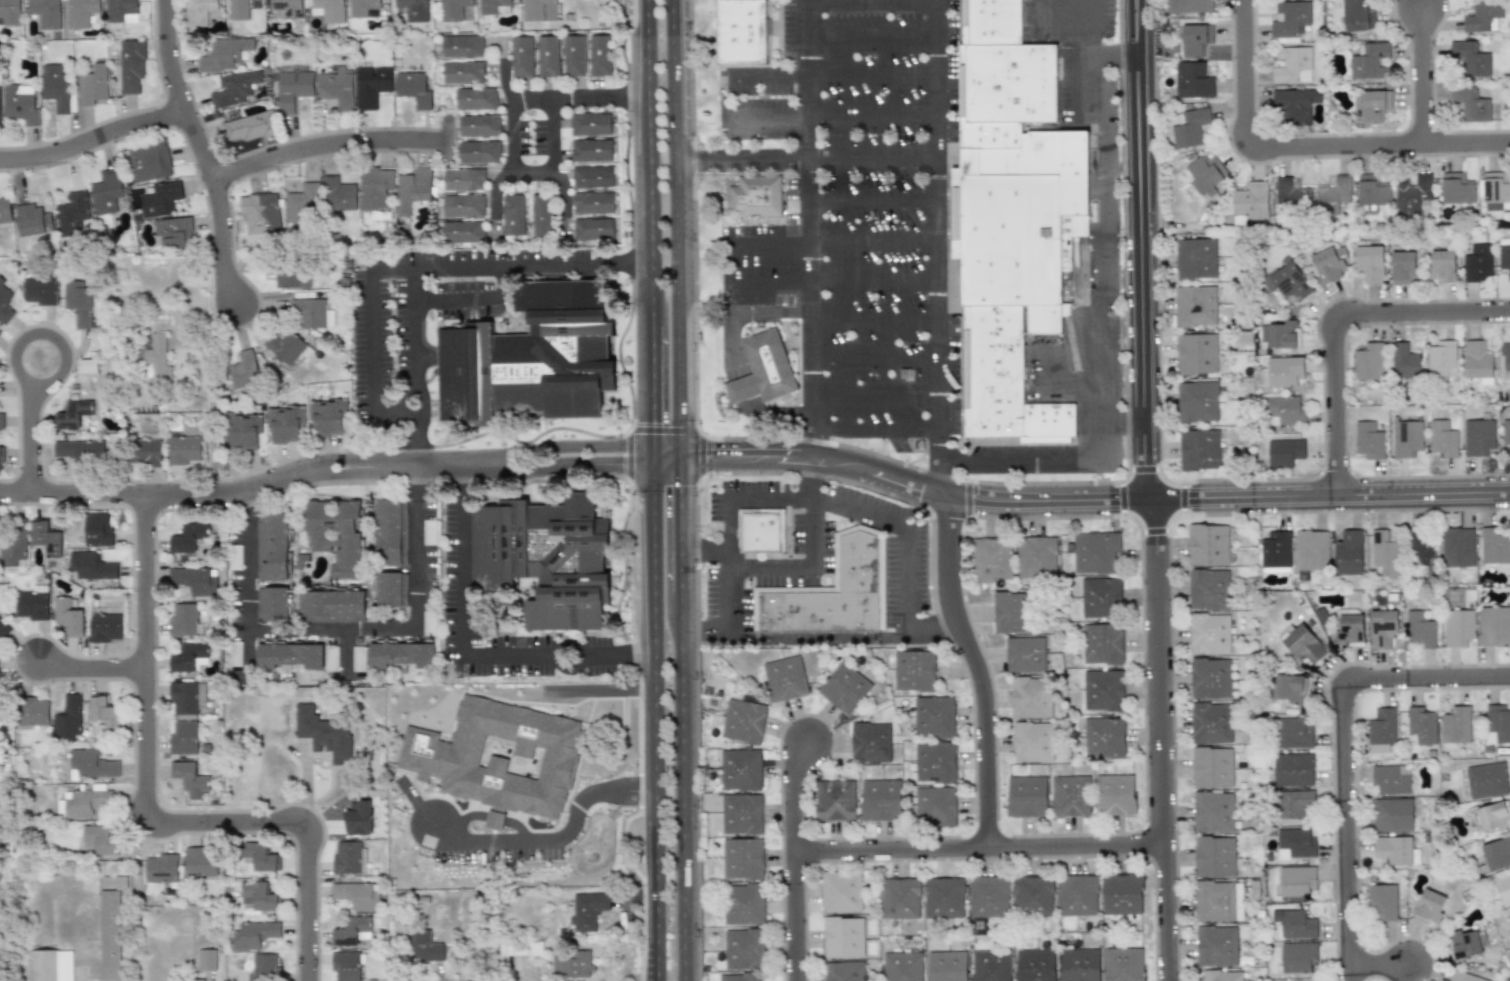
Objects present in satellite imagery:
road: (849, 1)
road: (889, 1)
road: (870, 2)
building: (1187, 6)
building: (363, 7)
building: (495, 7)
building: (242, 8)
building: (286, 9)
building: (454, 9)
building: (330, 10)
building: (415, 10)
building: (542, 10)
building: (121, 11)
building: (10, 12)
building: (81, 12)
building: (199, 12)
building: (44, 13)
building: (1354, 16)
building: (1482, 16)
building: (1291, 18)
road: (1058, 27)
building: (740, 31)
road: (871, 33)
building: (1194, 39)
building: (464, 46)
building: (225, 54)
building: (601, 55)
building: (549, 56)
building: (575, 56)
building: (523, 57)
road: (1085, 57)
building: (1469, 59)
building: (1368, 60)
building: (1292, 65)
building: (132, 66)
road: (1421, 70)
building: (464, 72)
road: (871, 72)
road: (772, 74)
road: (673, 79)
building: (1192, 80)
building: (92, 85)
building: (56, 87)
building: (293, 87)
building: (371, 87)
building: (235, 88)
building: (336, 89)
building: (413, 89)
road: (561, 98)
building: (477, 99)
building: (21, 104)
building: (1371, 104)
building: (1472, 104)
building: (0, 106)
road: (870, 114)
building: (591, 124)
road: (767, 124)
building: (480, 126)
building: (249, 127)
building: (1189, 127)
road: (513, 136)
road: (552, 137)
road: (90, 138)
road: (1305, 142)
road: (326, 145)
building: (592, 150)
building: (480, 152)
road: (200, 155)
road: (871, 155)
road: (741, 157)
building: (149, 161)
road: (649, 161)
building: (1205, 174)
road: (531, 175)
building: (593, 177)
building: (465, 179)
building: (375, 188)
building: (1456, 188)
building: (413, 190)
building: (1372, 190)
building: (1495, 190)
building: (107, 192)
building: (1290, 193)
building: (1412, 193)
building: (339, 195)
building: (1332, 195)
building: (754, 196)
building: (158, 200)
road: (871, 201)
building: (301, 202)
building: (1250, 202)
building: (593, 203)
building: (461, 206)
building: (5, 210)
building: (73, 214)
building: (260, 214)
building: (513, 215)
building: (542, 215)
building: (1012, 219)
building: (33, 220)
building: (593, 229)
building: (172, 231)
road: (808, 231)
building: (463, 232)
road: (871, 242)
road: (768, 244)
road: (934, 247)
road: (1149, 249)
building: (1195, 258)
building: (1504, 258)
road: (1101, 259)
building: (1369, 263)
building: (1477, 263)
building: (1327, 264)
building: (1442, 265)
road: (729, 266)
building: (1404, 267)
building: (290, 275)
building: (1287, 279)
road: (871, 280)
road: (769, 286)
building: (41, 291)
road: (474, 300)
building: (5, 303)
building: (80, 303)
building: (1195, 305)
road: (676, 308)
building: (314, 313)
road: (1337, 318)
road: (871, 320)
building: (0, 329)
building: (1280, 334)
road: (416, 345)
building: (287, 347)
building: (1196, 353)
building: (159, 357)
road: (735, 357)
building: (532, 358)
building: (1441, 359)
road: (871, 361)
building: (1403, 361)
building: (1478, 361)
building: (1368, 362)
building: (763, 369)
building: (1284, 371)
building: (245, 372)
road: (52, 378)
road: (653, 390)
road: (872, 401)
building: (1197, 401)
road: (212, 406)
building: (1286, 410)
building: (74, 415)
building: (329, 416)
building: (1, 421)
building: (285, 426)
building: (1506, 429)
building: (246, 431)
road: (872, 431)
building: (1478, 436)
road: (30, 438)
building: (1406, 438)
building: (1442, 438)
building: (1368, 440)
road: (564, 445)
building: (1199, 449)
building: (184, 450)
road: (417, 450)
building: (82, 452)
building: (1284, 452)
building: (147, 453)
building: (0, 457)
road: (666, 458)
road: (1028, 460)
road: (563, 465)
road: (308, 470)
road: (654, 484)
road: (72, 496)
road: (1091, 500)
road: (809, 513)
road: (889, 522)
road: (679, 527)
building: (760, 530)
building: (98, 531)
building: (391, 531)
building: (336, 535)
building: (45, 537)
building: (187, 538)
building: (1207, 544)
building: (1494, 546)
building: (273, 547)
building: (1457, 547)
building: (12, 548)
building: (1310, 550)
building: (1276, 551)
building: (1095, 552)
building: (1348, 552)
building: (1386, 553)
building: (1036, 556)
building: (546, 558)
building: (991, 558)
road: (654, 561)
road: (743, 565)
building: (90, 566)
building: (192, 582)
building: (392, 589)
road: (726, 589)
building: (1208, 589)
building: (831, 592)
building: (1100, 597)
building: (33, 604)
building: (273, 604)
building: (333, 606)
building: (1012, 612)
building: (69, 617)
building: (185, 620)
building: (1350, 626)
building: (1458, 626)
building: (1494, 626)
building: (104, 628)
building: (1382, 628)
building: (1420, 628)
building: (3, 630)
building: (1209, 634)
road: (821, 637)
building: (1302, 643)
building: (1102, 644)
road: (463, 654)
building: (1024, 654)
building: (292, 655)
building: (402, 655)
building: (189, 657)
building: (360, 658)
road: (87, 669)
building: (913, 670)
road: (976, 672)
building: (784, 678)
building: (1210, 678)
building: (1289, 687)
building: (844, 688)
building: (1103, 690)
building: (1031, 697)
building: (188, 700)
building: (34, 712)
building: (104, 713)
building: (934, 716)
building: (743, 721)
building: (1211, 722)
building: (1422, 725)
building: (1456, 725)
building: (1383, 726)
building: (324, 733)
building: (1293, 733)
building: (1103, 736)
building: (184, 738)
road: (1164, 739)
building: (1032, 741)
building: (870, 743)
road: (1345, 749)
building: (500, 758)
building: (934, 761)
building: (92, 765)
building: (1212, 767)
building: (740, 769)
building: (1293, 770)
building: (190, 779)
building: (1391, 779)
building: (1487, 780)
road: (682, 789)
building: (1114, 794)
road: (655, 796)
building: (1026, 796)
building: (1070, 796)
building: (880, 799)
building: (835, 800)
building: (85, 802)
building: (1294, 803)
building: (934, 805)
building: (1213, 812)
road: (149, 813)
building: (741, 814)
building: (1393, 814)
building: (1491, 817)
building: (358, 818)
building: (101, 840)
building: (1295, 843)
road: (554, 846)
road: (980, 848)
building: (1393, 849)
building: (1497, 853)
building: (259, 856)
building: (1214, 856)
building: (348, 858)
building: (742, 858)
road: (794, 860)
building: (201, 862)
building: (162, 868)
building: (1296, 880)
building: (841, 891)
building: (1123, 894)
building: (357, 895)
building: (1077, 895)
building: (988, 896)
building: (1033, 896)
building: (257, 897)
building: (944, 897)
building: (899, 898)
building: (1217, 901)
building: (1382, 902)
building: (743, 904)
building: (1429, 906)
building: (588, 911)
building: (1294, 923)
building: (352, 931)
building: (112, 935)
building: (254, 935)
building: (843, 937)
building: (1464, 943)
building: (1216, 946)
building: (425, 947)
building: (744, 949)
building: (1297, 956)
building: (207, 960)
road: (1380, 961)
building: (1079, 964)
building: (1123, 964)
building: (53, 965)
building: (345, 965)
building: (574, 965)
building: (990, 965)
building: (1035, 965)
building: (903, 966)
building: (946, 966)
building: (265, 968)
building: (844, 971)
building: (1221, 975)
building: (1463, 976)
building: (738, 977)
road: (444, 978)

